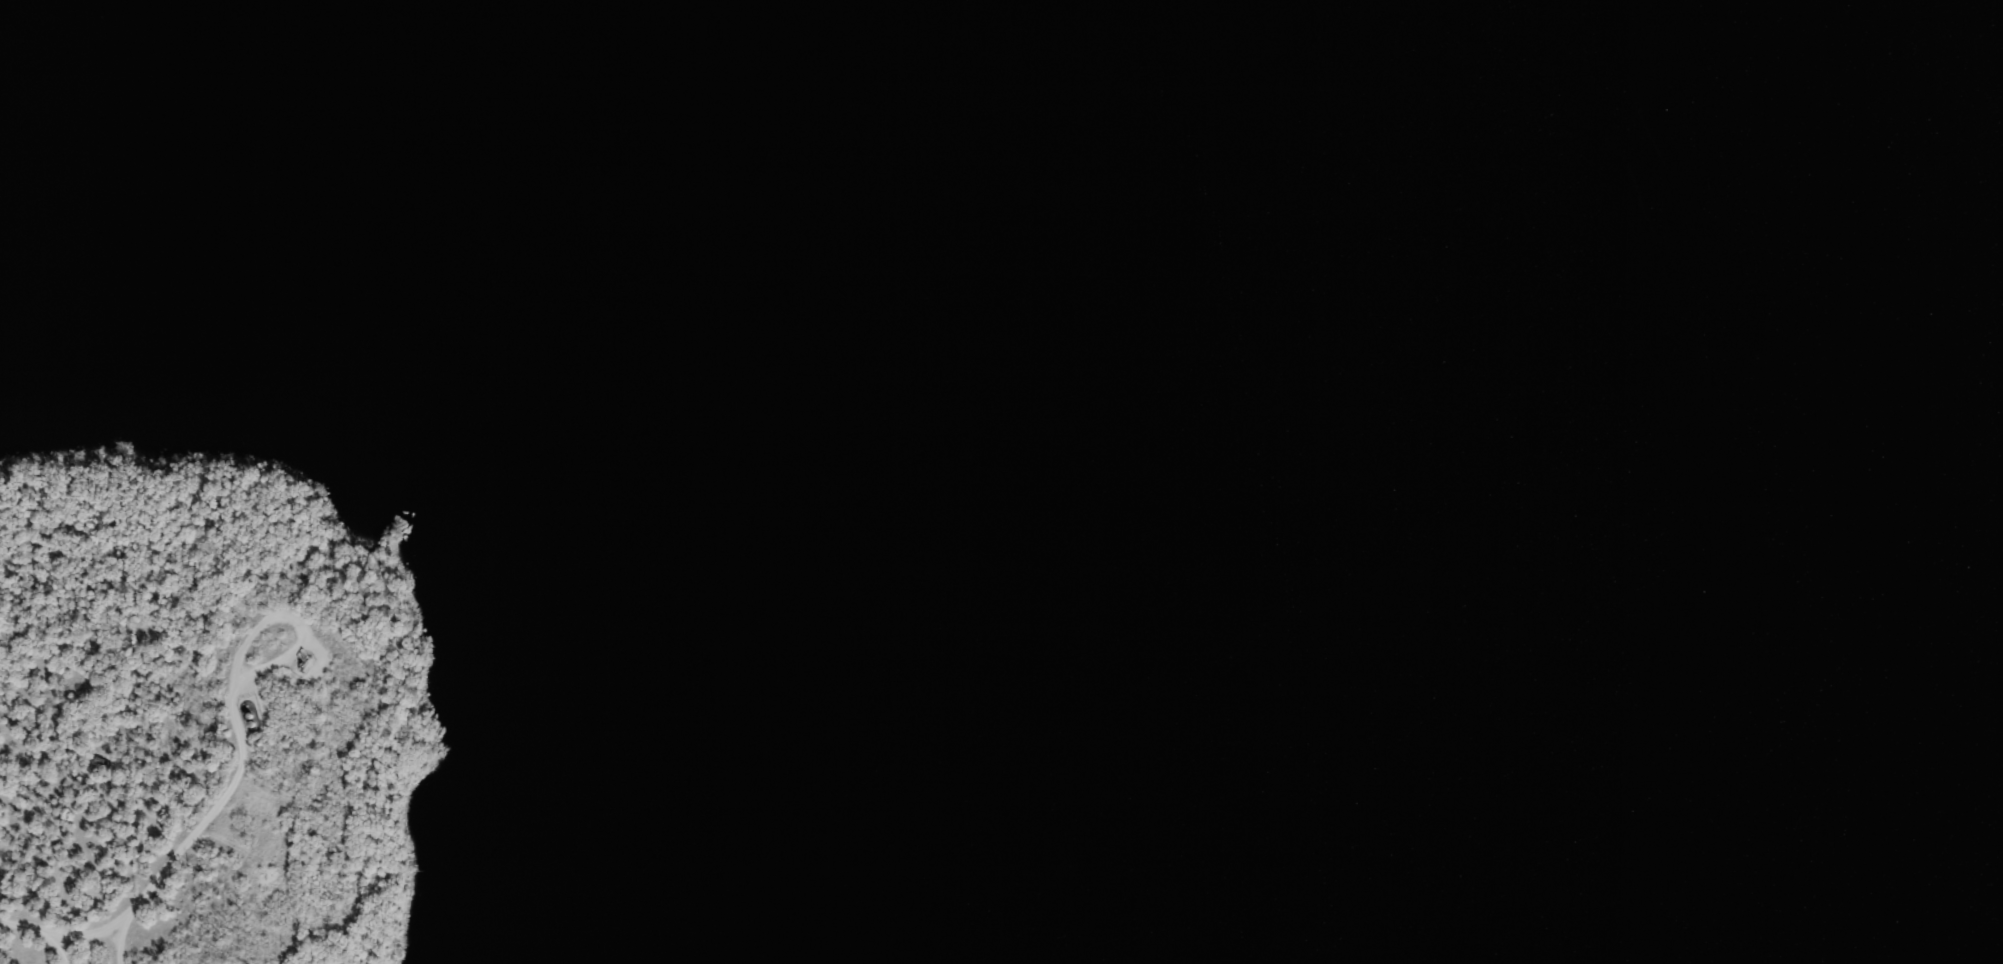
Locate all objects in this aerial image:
road: (297, 622)
park: (297, 685)
road: (173, 862)
road: (121, 939)
road: (58, 947)

